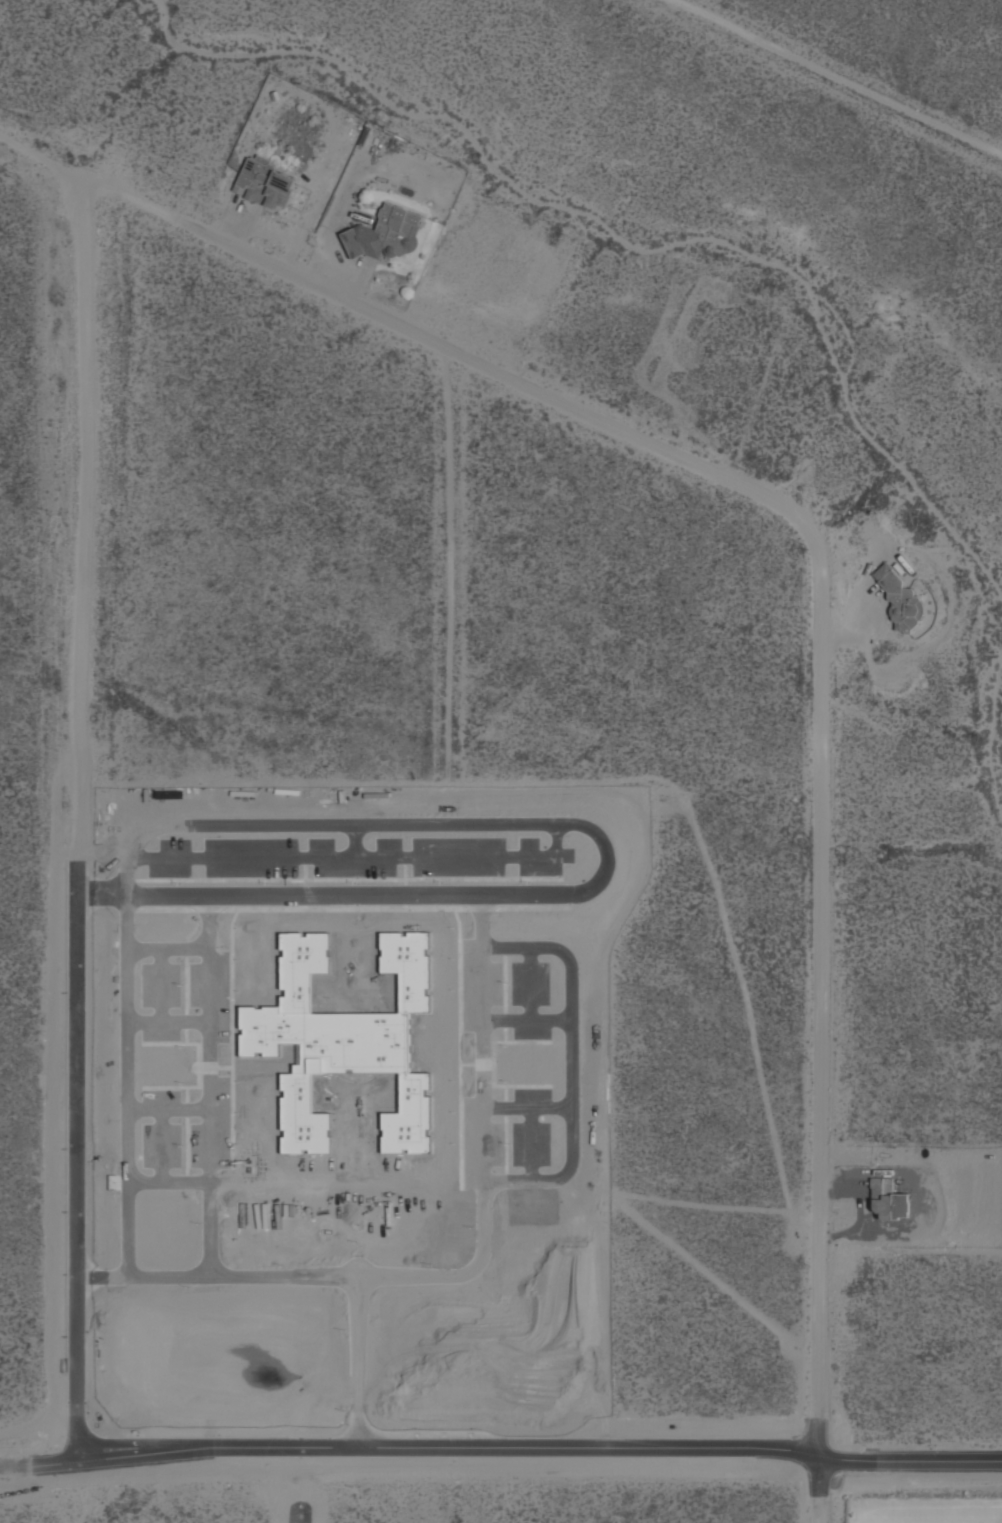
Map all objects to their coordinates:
road: (841, 74)
road: (39, 152)
building: (263, 183)
building: (385, 234)
road: (77, 518)
building: (899, 600)
road: (824, 610)
road: (353, 844)
parking lot: (355, 861)
road: (356, 861)
road: (607, 861)
road: (166, 951)
road: (529, 988)
road: (158, 990)
parking lot: (503, 997)
parking lot: (184, 1002)
road: (525, 1025)
road: (167, 1028)
building: (342, 1042)
road: (570, 1067)
road: (125, 1090)
road: (209, 1090)
road: (168, 1113)
road: (525, 1113)
parking lot: (186, 1132)
road: (481, 1138)
parking lot: (504, 1138)
road: (530, 1149)
road: (160, 1150)
road: (78, 1165)
road: (168, 1186)
building: (887, 1200)
road: (345, 1268)
road: (209, 1281)
road: (356, 1374)
road: (407, 1450)
road: (894, 1464)
road: (14, 1470)
park: (921, 1503)

